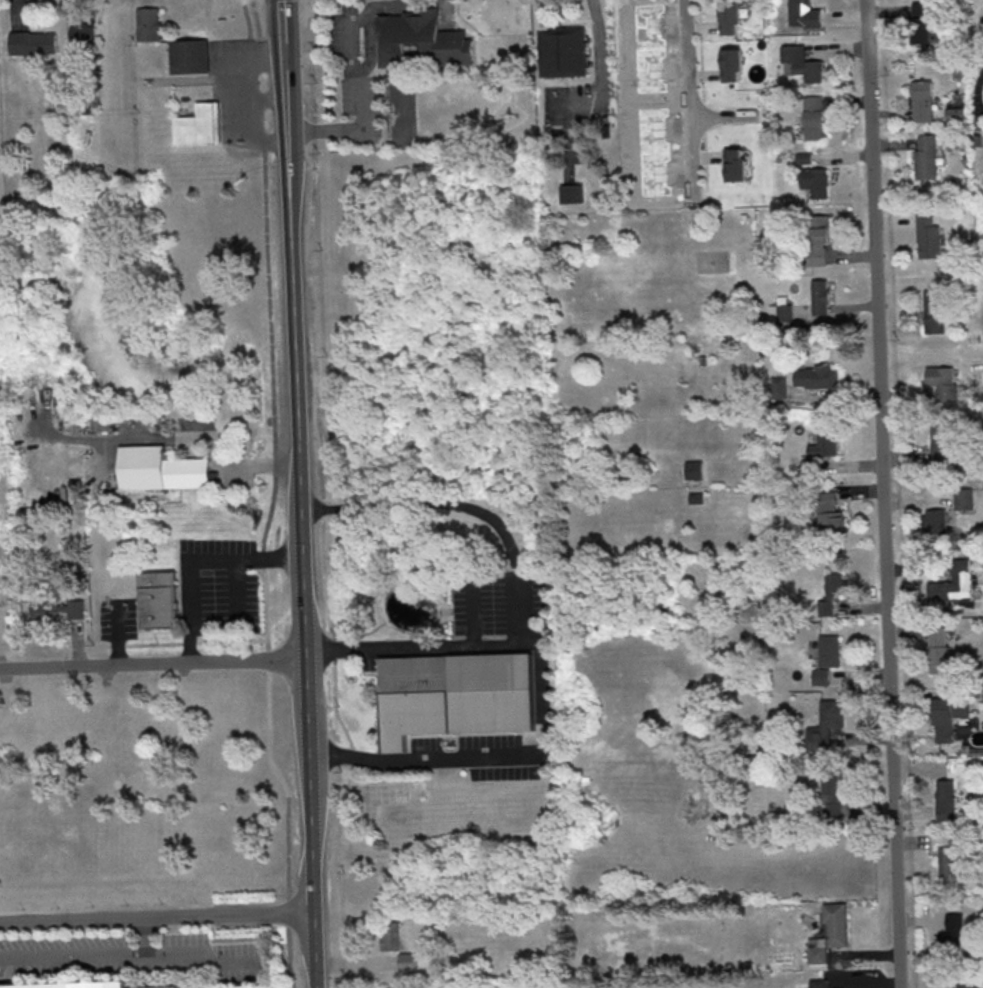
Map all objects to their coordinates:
building: (804, 14)
building: (729, 17)
building: (921, 22)
building: (148, 23)
building: (629, 24)
building: (81, 34)
building: (416, 37)
building: (33, 42)
building: (563, 51)
building: (189, 56)
building: (800, 62)
building: (731, 64)
road: (365, 87)
road: (600, 98)
road: (690, 99)
building: (922, 100)
road: (558, 104)
building: (957, 114)
building: (814, 117)
building: (197, 125)
building: (926, 156)
building: (803, 157)
building: (735, 164)
building: (815, 181)
building: (571, 193)
building: (927, 236)
building: (819, 238)
building: (820, 297)
building: (781, 310)
building: (934, 310)
building: (817, 376)
building: (942, 381)
building: (779, 387)
building: (96, 422)
building: (821, 444)
building: (942, 444)
building: (159, 469)
building: (694, 469)
road: (933, 483)
road: (299, 493)
road: (884, 493)
road: (271, 496)
building: (963, 498)
road: (469, 500)
building: (936, 520)
building: (831, 523)
road: (195, 557)
building: (949, 589)
building: (830, 593)
building: (157, 598)
building: (58, 609)
road: (410, 647)
building: (940, 649)
building: (829, 650)
road: (152, 661)
building: (821, 676)
building: (456, 696)
road: (539, 712)
building: (948, 717)
building: (825, 725)
road: (493, 757)
building: (832, 793)
building: (945, 799)
building: (948, 862)
road: (157, 916)
building: (837, 923)
building: (955, 934)
building: (392, 935)
airport: (145, 940)
building: (818, 950)
building: (408, 961)
building: (969, 983)
building: (85, 985)
building: (245, 985)
airport apron: (194, 986)
building: (393, 987)

